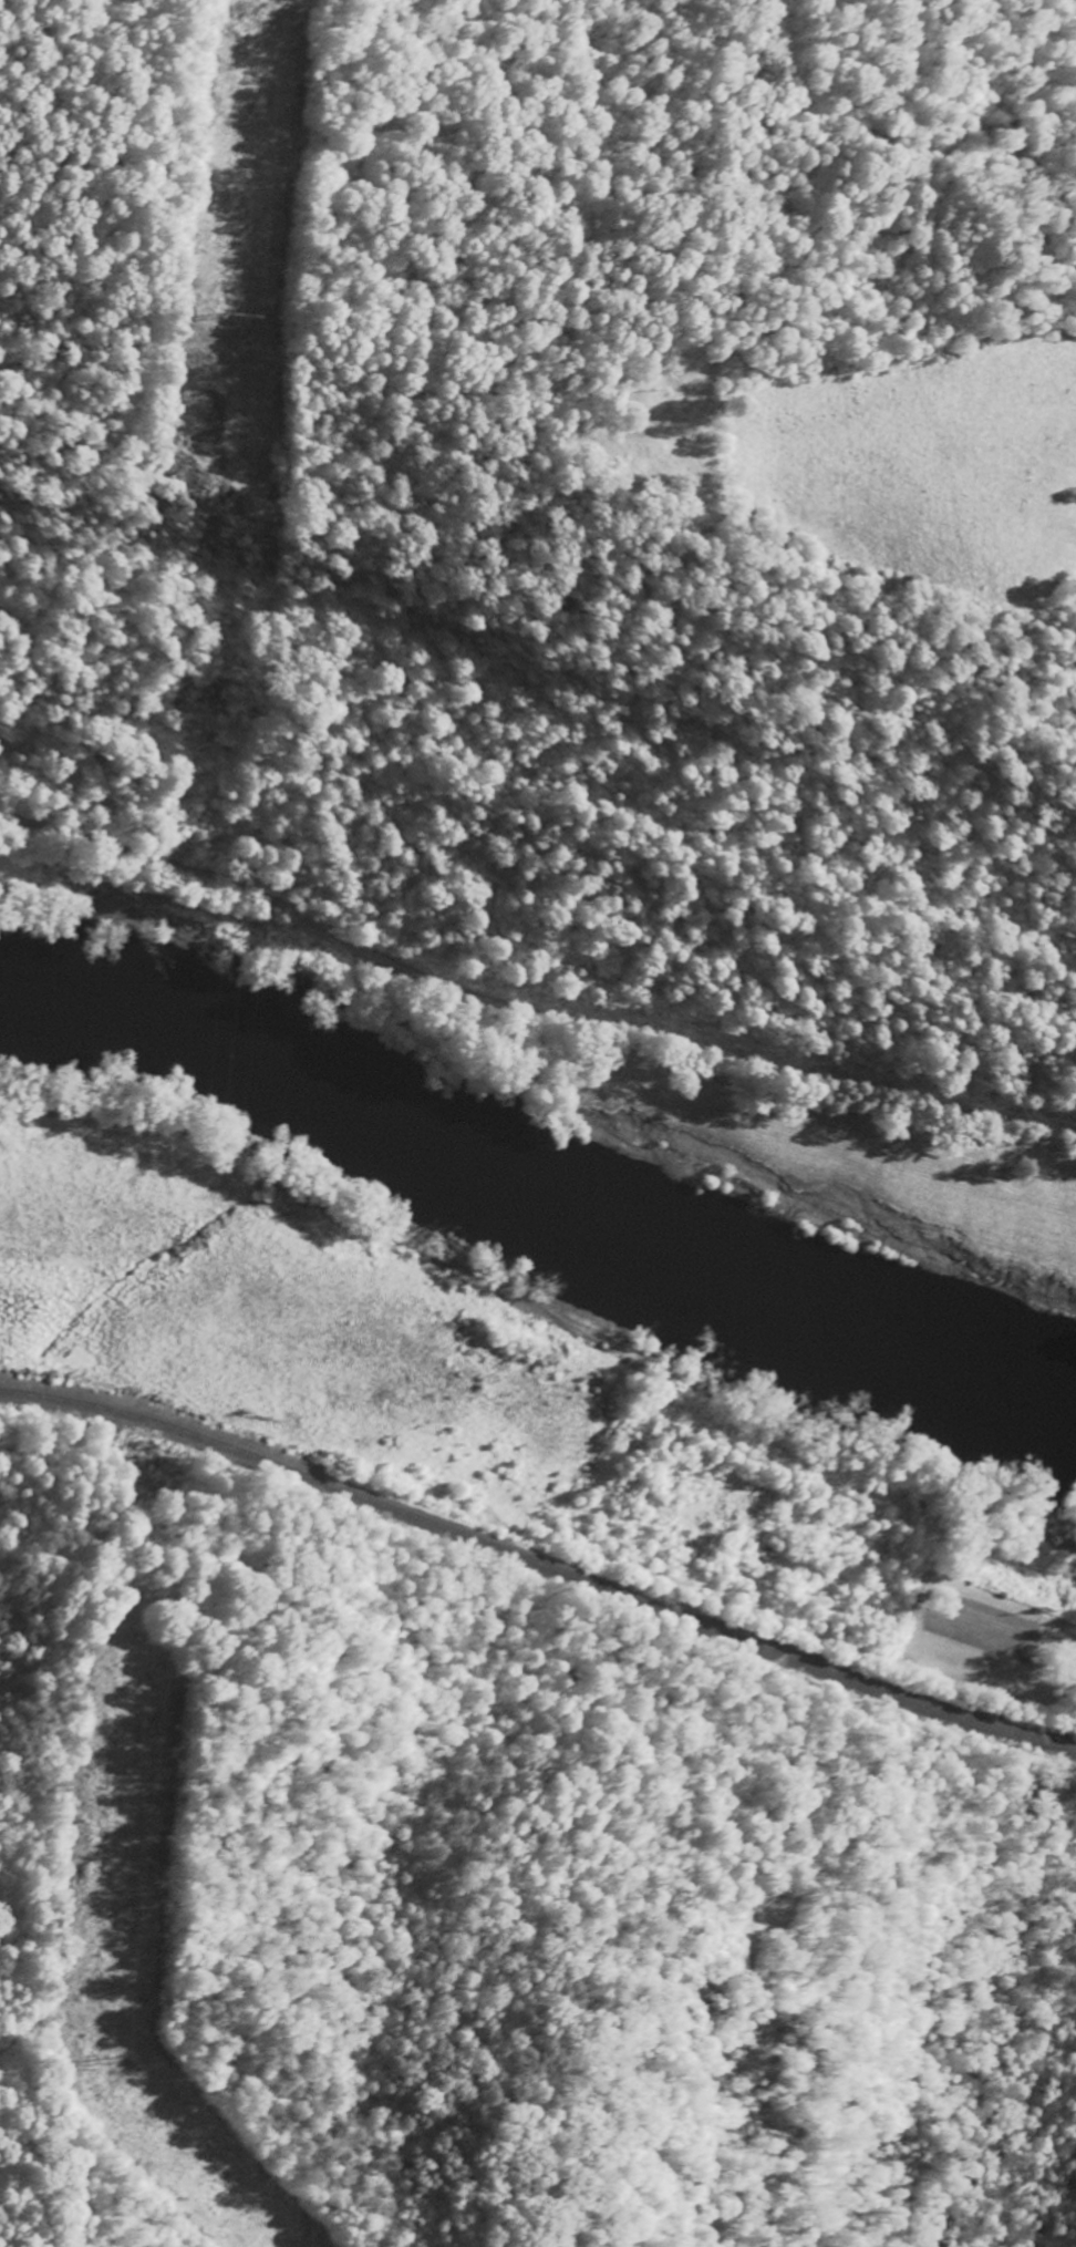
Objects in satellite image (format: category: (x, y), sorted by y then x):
power tower: (247, 311)
road: (525, 1019)
river: (544, 1188)
railway: (539, 1564)
power tower: (113, 2063)

